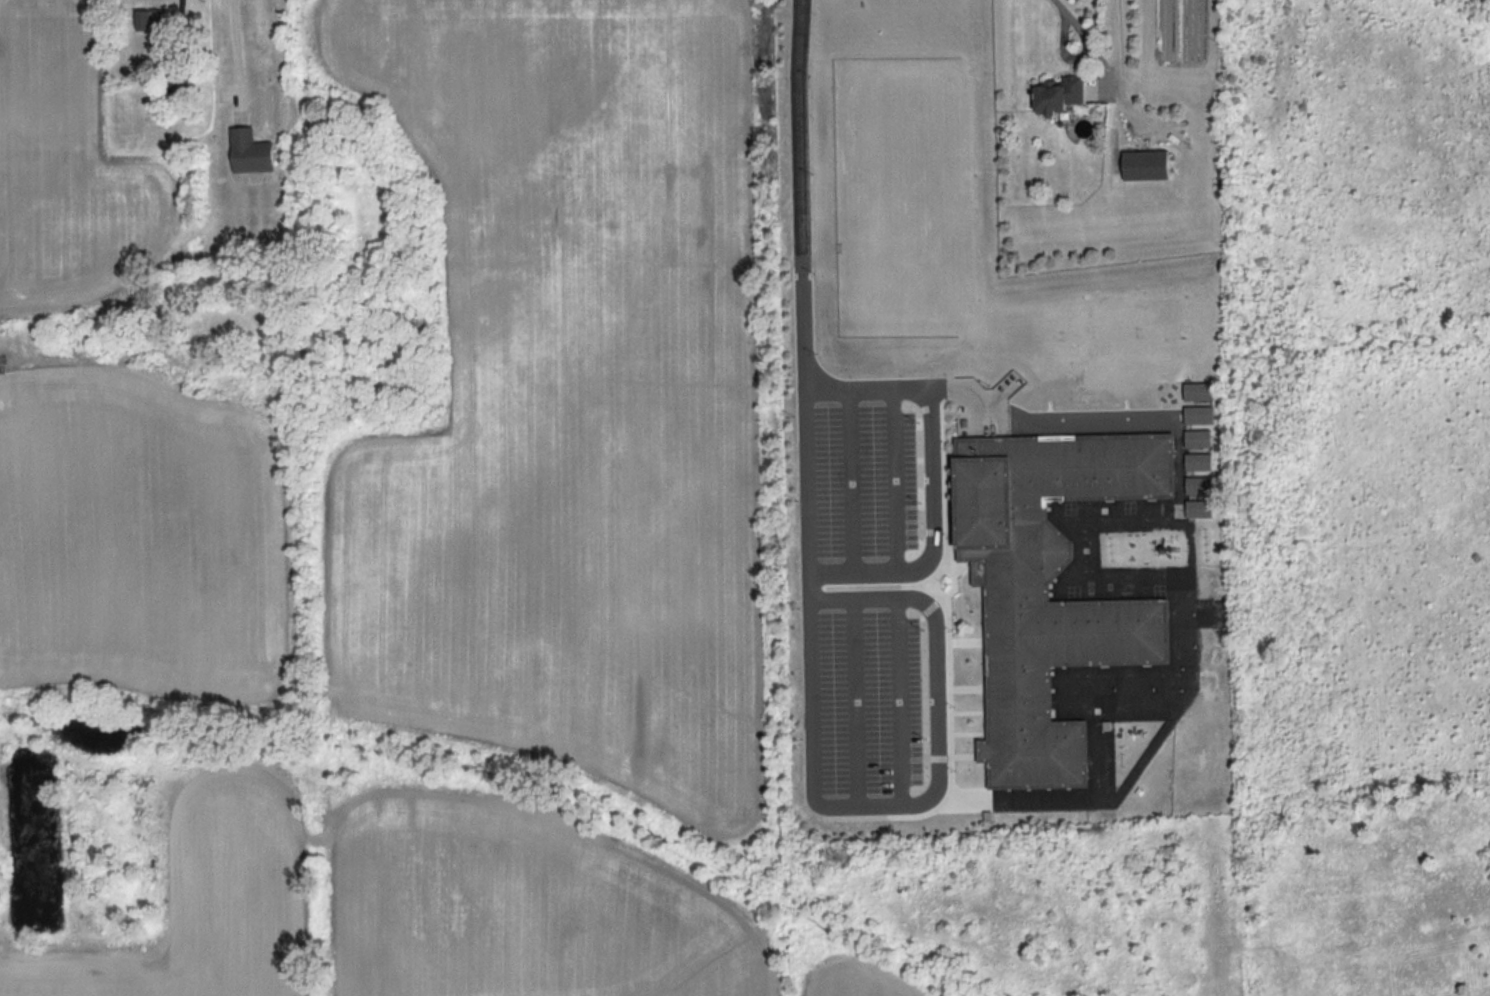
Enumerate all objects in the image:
building: (151, 24)
road: (236, 52)
road: (1109, 67)
building: (1059, 93)
building: (249, 151)
building: (1145, 164)
road: (801, 300)
road: (901, 390)
building: (1197, 391)
crop: (568, 399)
building: (1198, 414)
building: (1197, 438)
building: (1197, 461)
parking lot: (867, 479)
road: (848, 481)
road: (894, 481)
building: (1198, 484)
building: (1198, 508)
crop: (140, 537)
road: (933, 539)
building: (1047, 586)
parking lot: (870, 700)
road: (897, 701)
road: (853, 703)
road: (929, 798)
crop: (205, 900)
crop: (523, 906)
crop: (852, 978)

